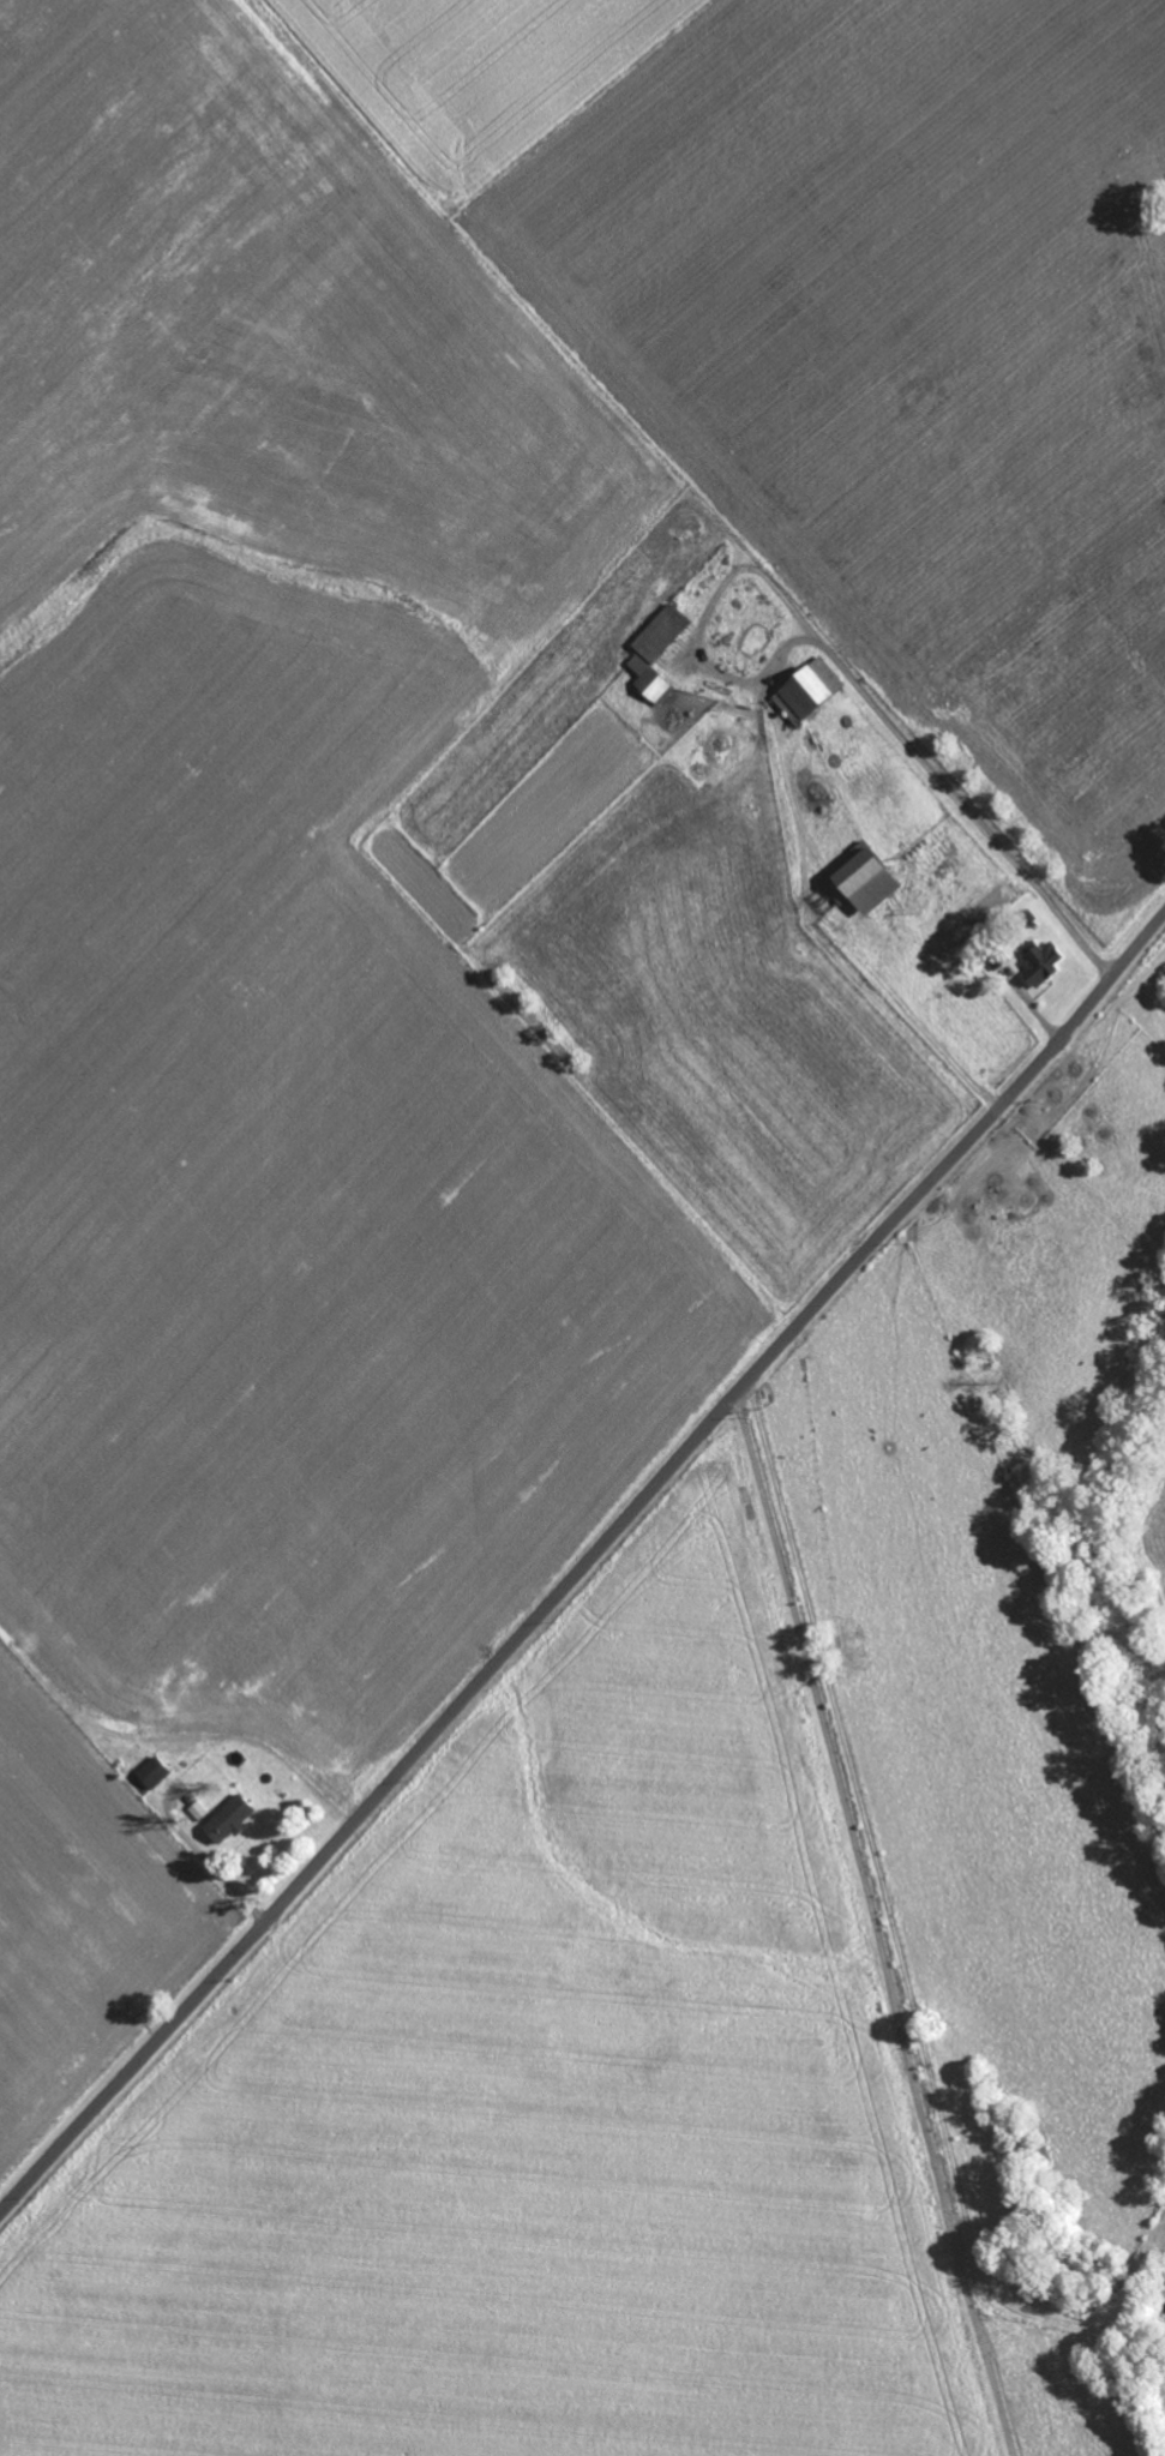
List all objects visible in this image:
building: (655, 653)
building: (807, 690)
building: (864, 881)
building: (1043, 963)
road: (583, 1560)
building: (151, 1771)
building: (197, 1808)
building: (228, 1819)

